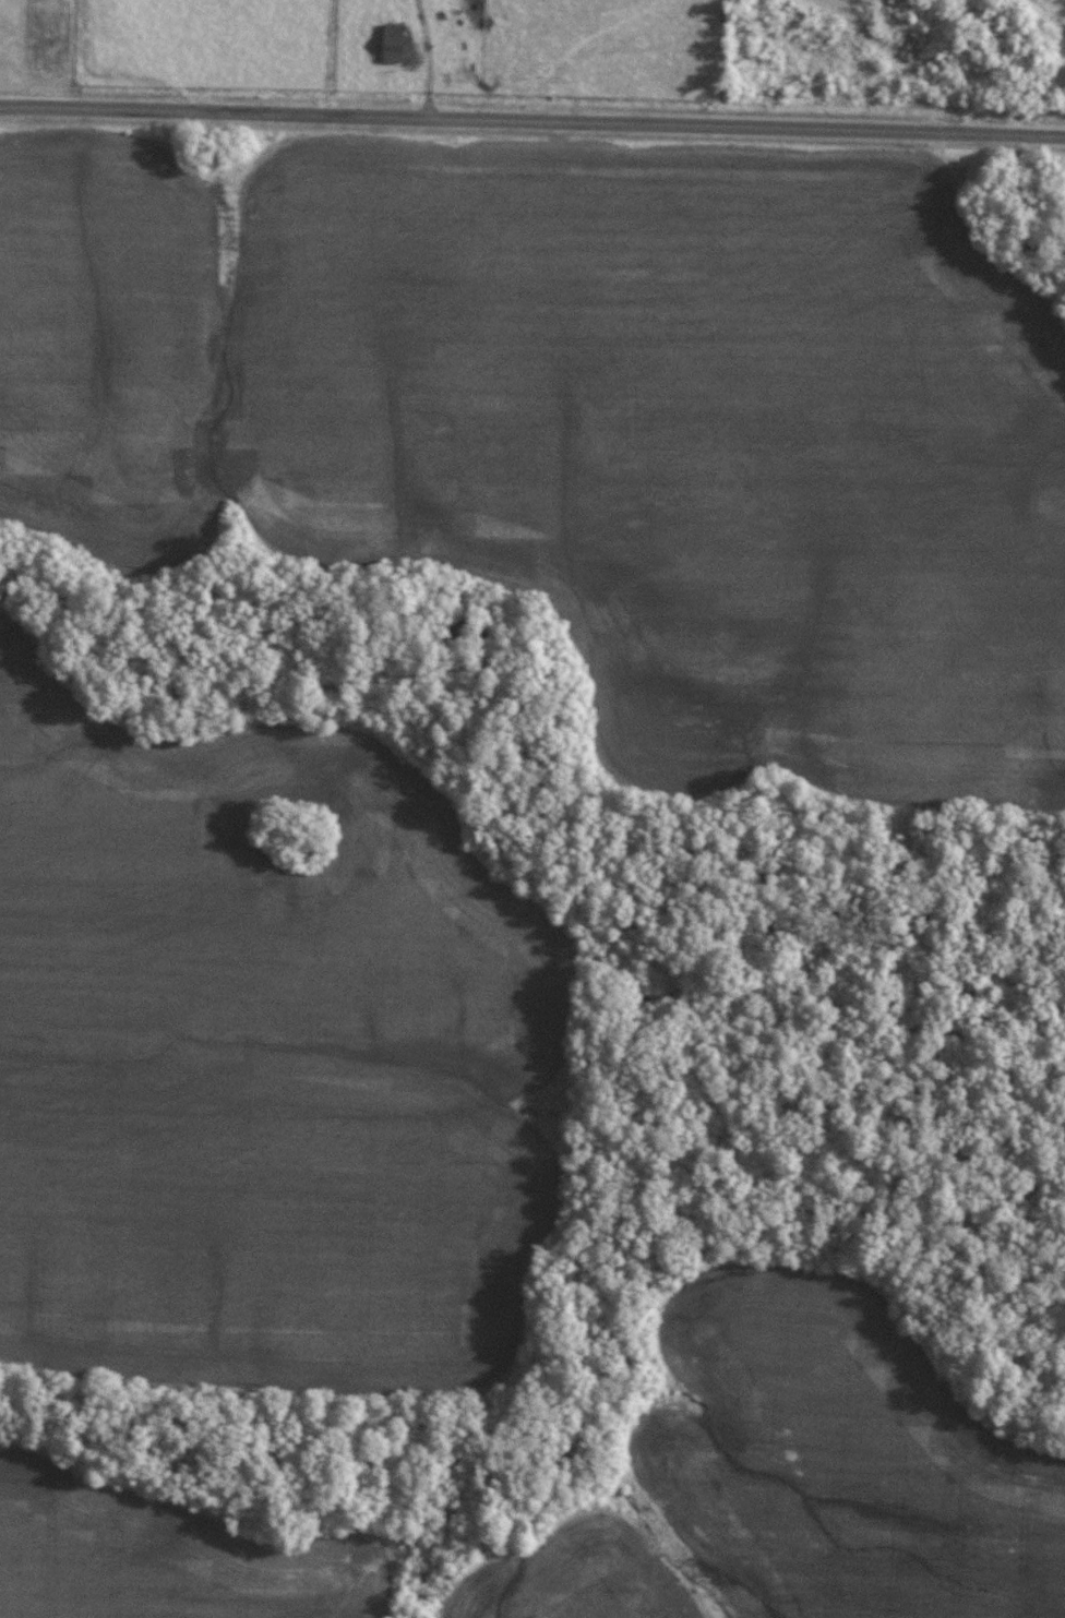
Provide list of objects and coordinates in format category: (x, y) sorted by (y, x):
building: (392, 41)
road: (532, 118)

